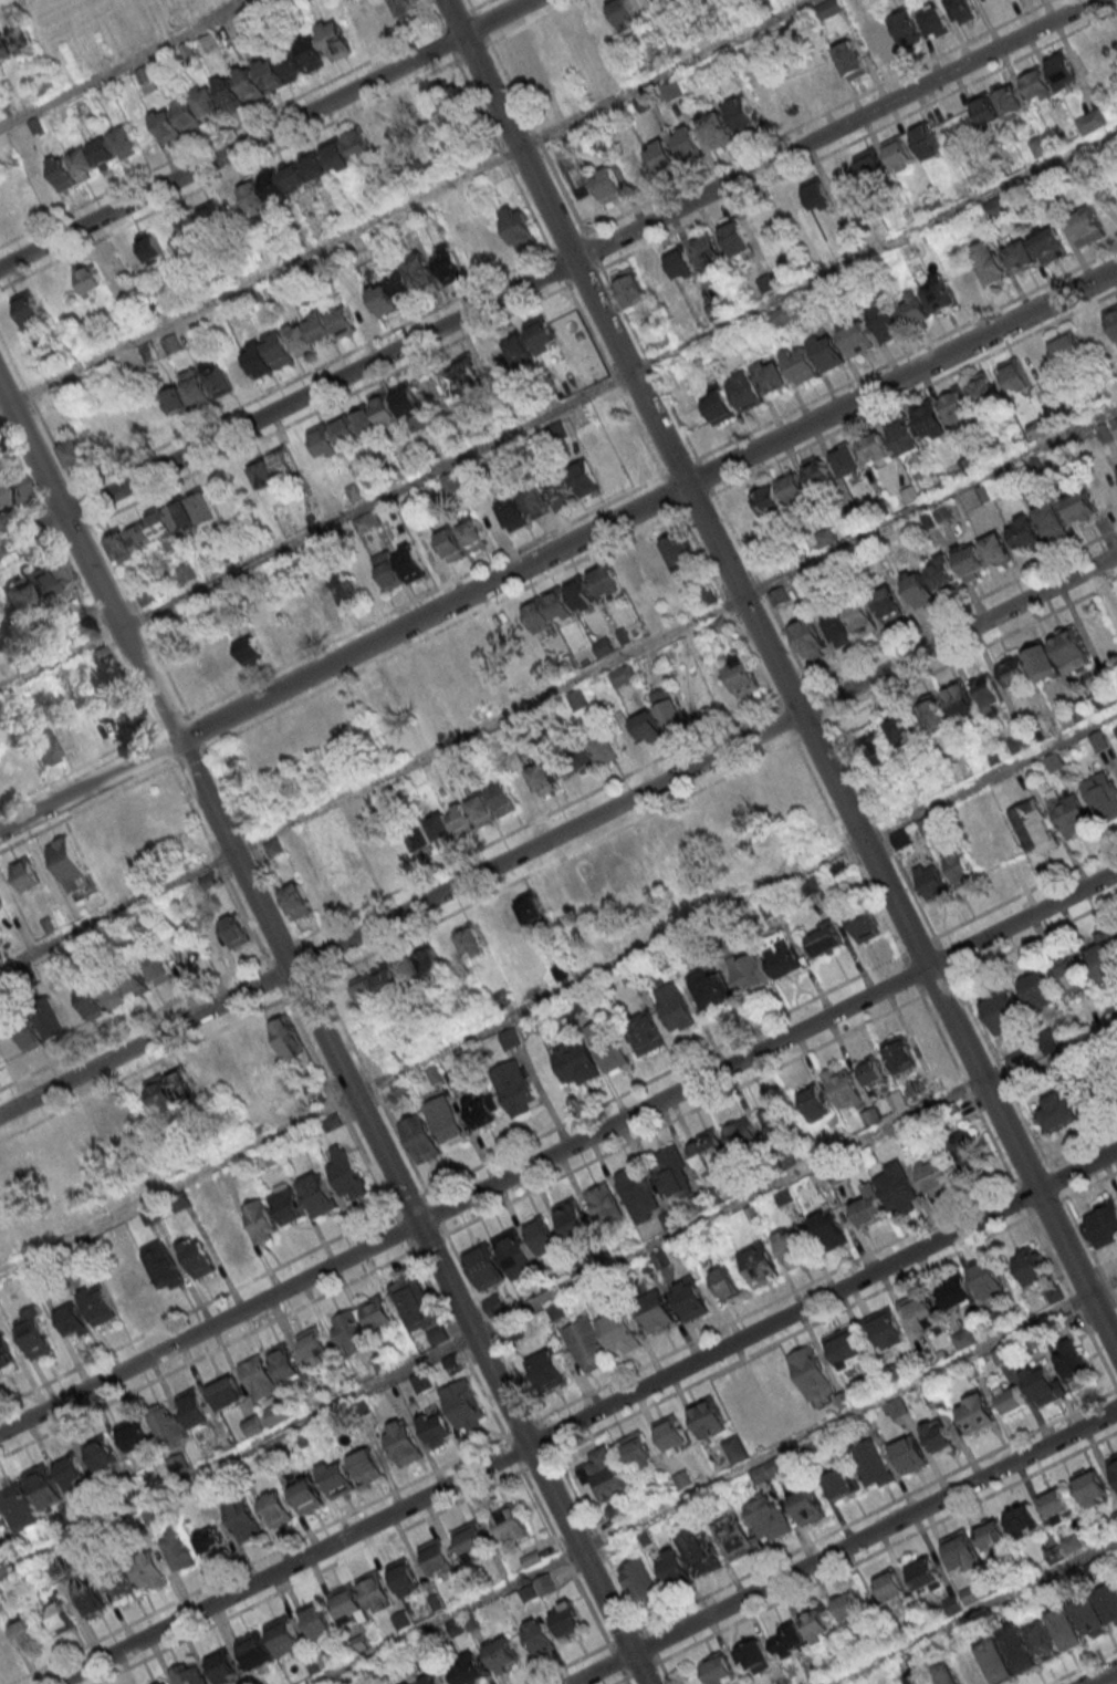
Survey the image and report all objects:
building: (654, 6)
building: (829, 8)
building: (962, 10)
building: (393, 13)
building: (625, 13)
building: (935, 21)
building: (361, 25)
building: (907, 30)
building: (22, 38)
building: (335, 39)
building: (878, 44)
building: (6, 50)
building: (852, 61)
road: (127, 63)
building: (520, 63)
building: (280, 69)
building: (1062, 71)
building: (1037, 86)
building: (229, 93)
building: (452, 100)
building: (207, 102)
building: (998, 106)
building: (743, 113)
building: (176, 119)
building: (406, 119)
building: (717, 128)
road: (264, 133)
building: (380, 133)
building: (125, 142)
building: (357, 142)
building: (690, 143)
building: (926, 143)
building: (899, 155)
building: (664, 156)
building: (93, 158)
building: (317, 164)
building: (873, 166)
building: (634, 167)
building: (62, 174)
building: (845, 181)
building: (607, 184)
building: (273, 185)
building: (253, 195)
building: (817, 195)
road: (406, 202)
building: (995, 207)
building: (211, 216)
building: (1085, 226)
building: (520, 227)
building: (737, 235)
building: (150, 245)
building: (1048, 245)
building: (709, 249)
building: (129, 256)
building: (1020, 256)
building: (989, 262)
building: (450, 266)
building: (670, 269)
road: (545, 274)
building: (90, 277)
building: (766, 283)
building: (630, 287)
building: (939, 293)
building: (29, 308)
building: (915, 309)
building: (714, 310)
building: (338, 319)
building: (1111, 319)
building: (780, 320)
building: (886, 323)
building: (1096, 332)
building: (542, 335)
building: (857, 340)
building: (171, 344)
building: (1066, 346)
building: (519, 347)
building: (493, 356)
building: (814, 358)
building: (1014, 374)
building: (457, 375)
building: (217, 376)
building: (772, 377)
building: (195, 387)
building: (983, 389)
building: (745, 391)
building: (176, 401)
building: (408, 402)
building: (719, 405)
building: (957, 405)
road: (558, 408)
building: (375, 414)
building: (930, 420)
building: (419, 423)
building: (902, 435)
building: (334, 436)
building: (874, 448)
building: (74, 451)
building: (846, 462)
building: (408, 464)
building: (273, 467)
building: (818, 475)
building: (584, 477)
building: (11, 489)
building: (558, 491)
building: (781, 496)
building: (535, 502)
building: (1079, 505)
building: (512, 513)
building: (1052, 520)
building: (366, 521)
building: (161, 524)
building: (1024, 531)
building: (472, 534)
building: (450, 544)
road: (558, 549)
building: (666, 555)
building: (399, 568)
building: (617, 576)
building: (50, 581)
building: (919, 588)
building: (581, 593)
building: (14, 597)
building: (338, 599)
building: (889, 603)
building: (549, 610)
building: (852, 622)
building: (85, 627)
building: (270, 636)
building: (810, 638)
building: (460, 646)
building: (1072, 648)
building: (236, 654)
building: (1030, 666)
building: (742, 674)
building: (623, 675)
road: (780, 676)
road: (558, 687)
building: (989, 693)
building: (375, 697)
building: (578, 698)
building: (961, 700)
building: (670, 708)
building: (125, 710)
building: (935, 715)
building: (647, 726)
building: (1116, 727)
building: (904, 730)
building: (1016, 742)
building: (51, 745)
building: (876, 749)
building: (593, 751)
building: (543, 778)
building: (1103, 796)
building: (502, 797)
building: (742, 801)
building: (481, 808)
building: (1071, 815)
building: (927, 825)
building: (439, 828)
building: (1034, 828)
road: (557, 834)
building: (685, 834)
building: (187, 841)
building: (69, 862)
building: (961, 867)
building: (27, 873)
building: (604, 873)
building: (930, 880)
building: (811, 886)
building: (297, 900)
building: (0, 905)
building: (521, 914)
building: (865, 923)
building: (226, 934)
building: (471, 942)
building: (823, 942)
building: (1105, 953)
building: (766, 964)
building: (159, 968)
building: (1069, 971)
building: (398, 977)
building: (135, 984)
building: (711, 988)
building: (1038, 990)
road: (558, 992)
building: (101, 998)
building: (675, 1007)
building: (1003, 1011)
building: (49, 1017)
building: (29, 1032)
building: (646, 1032)
road: (322, 1035)
building: (288, 1036)
building: (510, 1039)
building: (1048, 1039)
building: (10, 1043)
building: (607, 1044)
building: (899, 1053)
building: (1, 1061)
building: (576, 1064)
building: (871, 1072)
building: (515, 1088)
building: (173, 1089)
building: (844, 1089)
building: (815, 1105)
building: (481, 1108)
building: (1058, 1111)
building: (121, 1115)
building: (871, 1115)
building: (332, 1122)
building: (776, 1123)
building: (431, 1127)
building: (742, 1135)
building: (965, 1150)
road: (558, 1152)
building: (709, 1155)
building: (346, 1172)
building: (672, 1173)
building: (936, 1174)
building: (898, 1188)
building: (317, 1194)
building: (638, 1194)
building: (605, 1203)
building: (285, 1204)
building: (868, 1206)
building: (260, 1220)
building: (574, 1220)
building: (1104, 1224)
building: (829, 1230)
building: (542, 1236)
building: (229, 1237)
building: (792, 1247)
building: (515, 1254)
building: (198, 1256)
building: (164, 1265)
building: (1031, 1265)
building: (484, 1266)
building: (760, 1266)
building: (986, 1277)
building: (725, 1282)
building: (133, 1287)
road: (556, 1292)
building: (956, 1292)
building: (1054, 1292)
building: (691, 1299)
building: (494, 1304)
building: (98, 1306)
building: (414, 1306)
building: (556, 1310)
building: (656, 1310)
building: (920, 1313)
building: (378, 1314)
building: (72, 1320)
building: (351, 1331)
building: (619, 1331)
building: (885, 1331)
building: (35, 1335)
building: (438, 1335)
building: (586, 1343)
building: (314, 1347)
building: (845, 1347)
building: (7, 1360)
building: (285, 1363)
building: (1073, 1364)
building: (547, 1369)
building: (812, 1372)
building: (259, 1379)
building: (421, 1381)
building: (1043, 1386)
building: (227, 1393)
building: (1010, 1399)
building: (466, 1405)
building: (194, 1407)
building: (974, 1414)
road: (584, 1415)
building: (708, 1416)
building: (167, 1426)
building: (437, 1427)
building: (672, 1433)
building: (135, 1435)
building: (937, 1437)
building: (405, 1444)
building: (638, 1451)
building: (102, 1456)
building: (908, 1456)
building: (1114, 1463)
building: (870, 1464)
building: (366, 1465)
building: (72, 1472)
building: (604, 1474)
building: (337, 1477)
building: (683, 1478)
road: (714, 1484)
building: (841, 1484)
building: (43, 1486)
building: (1092, 1487)
building: (307, 1496)
building: (806, 1504)
building: (1058, 1506)
building: (19, 1507)
building: (275, 1508)
building: (619, 1513)
building: (1116, 1516)
building: (243, 1520)
building: (1024, 1520)
building: (511, 1524)
building: (0, 1525)
building: (752, 1526)
building: (992, 1534)
building: (210, 1541)
building: (472, 1541)
road: (844, 1547)
building: (177, 1550)
building: (962, 1550)
building: (701, 1551)
building: (438, 1556)
building: (532, 1558)
building: (674, 1566)
building: (149, 1570)
building: (925, 1573)
building: (406, 1578)
building: (640, 1580)
building: (889, 1587)
building: (537, 1589)
building: (103, 1591)
building: (376, 1591)
building: (349, 1605)
building: (848, 1608)
building: (1097, 1610)
road: (973, 1611)
building: (59, 1617)
building: (567, 1618)
building: (319, 1621)
building: (817, 1626)
building: (1065, 1628)
building: (25, 1634)
building: (284, 1635)
building: (540, 1635)
building: (1043, 1640)
building: (789, 1642)
building: (6, 1650)
building: (254, 1650)
building: (1019, 1650)
building: (503, 1653)
building: (753, 1655)
building: (995, 1660)
building: (223, 1665)
building: (468, 1670)
building: (721, 1670)
building: (190, 1674)
building: (944, 1674)
road: (1104, 1677)
building: (431, 1678)
building: (919, 1678)
building: (161, 1682)

